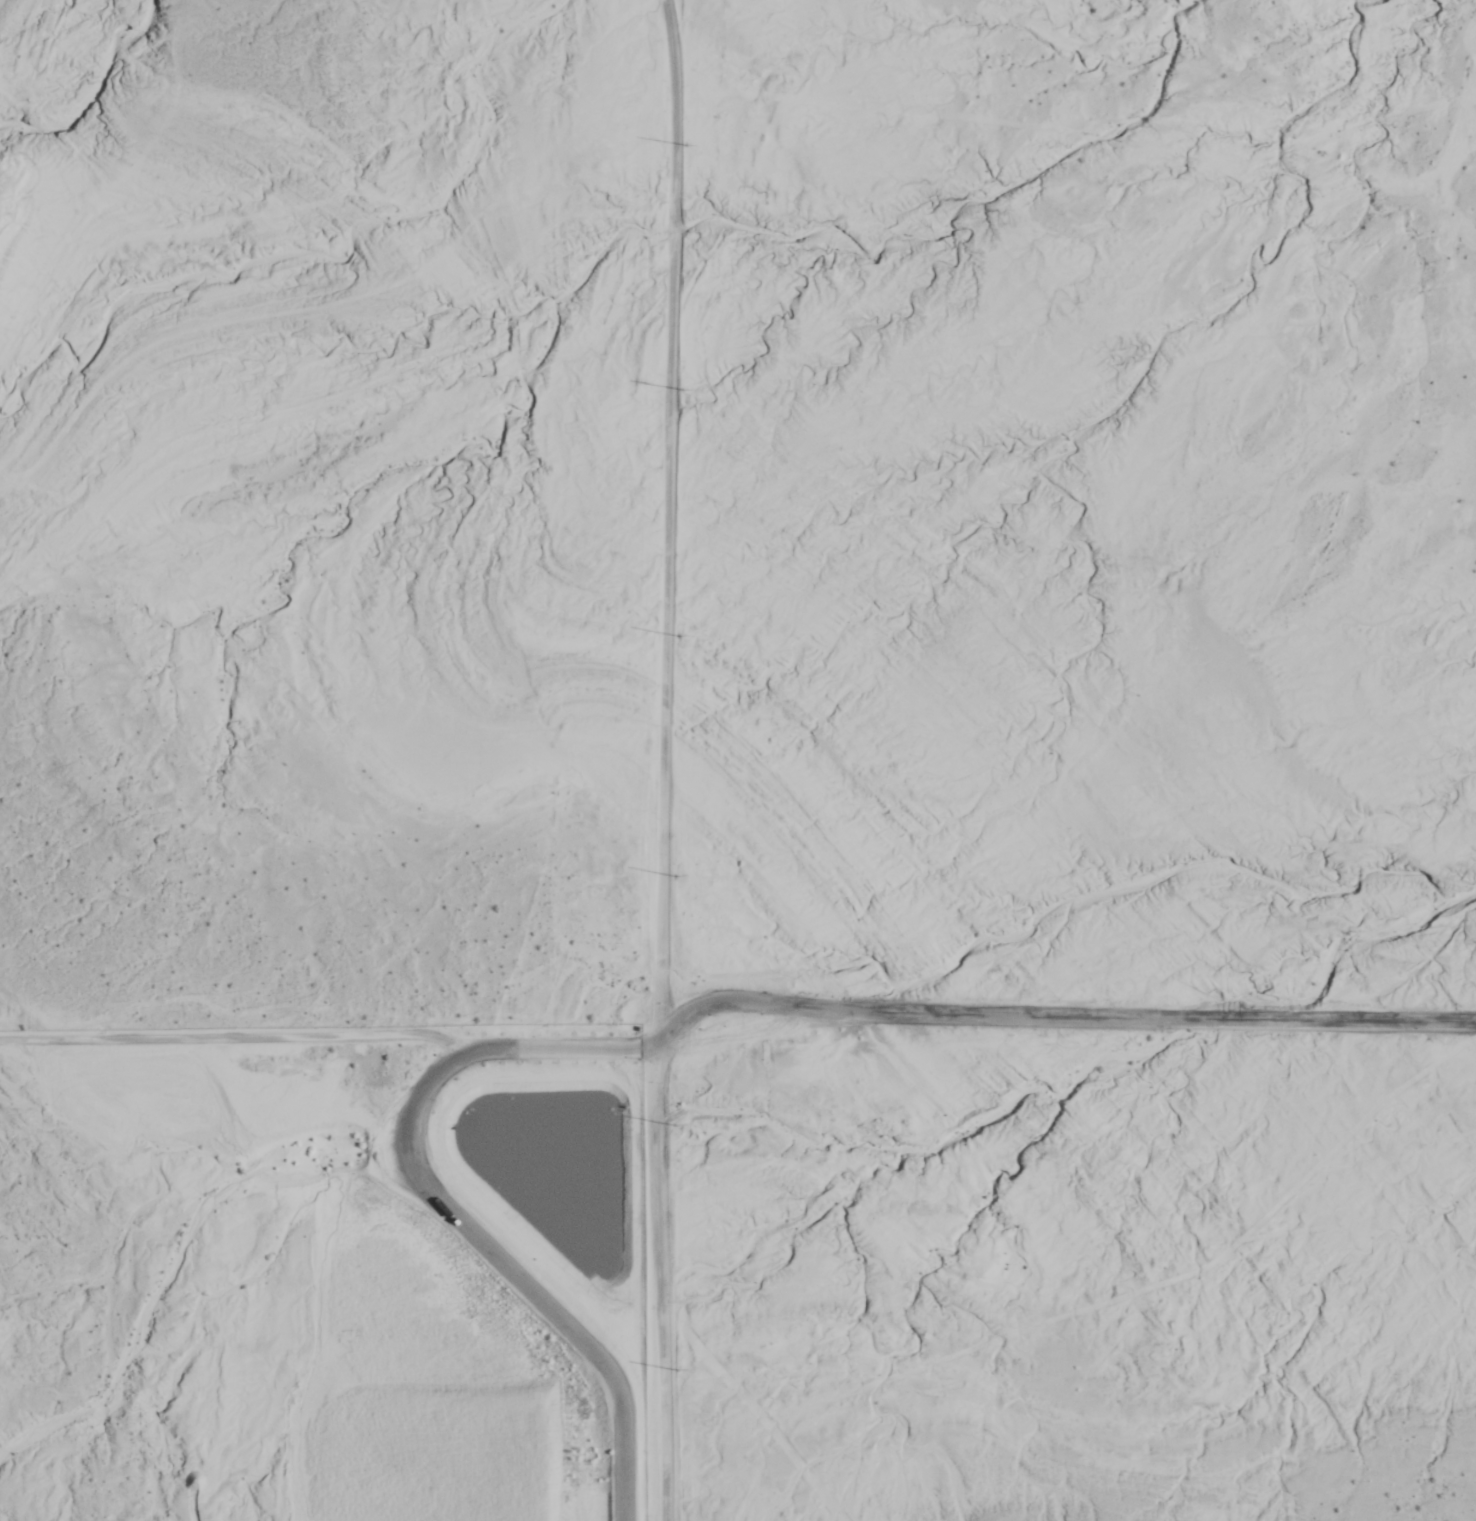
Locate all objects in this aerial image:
road: (669, 760)
road: (681, 1016)
landfill: (321, 1281)

